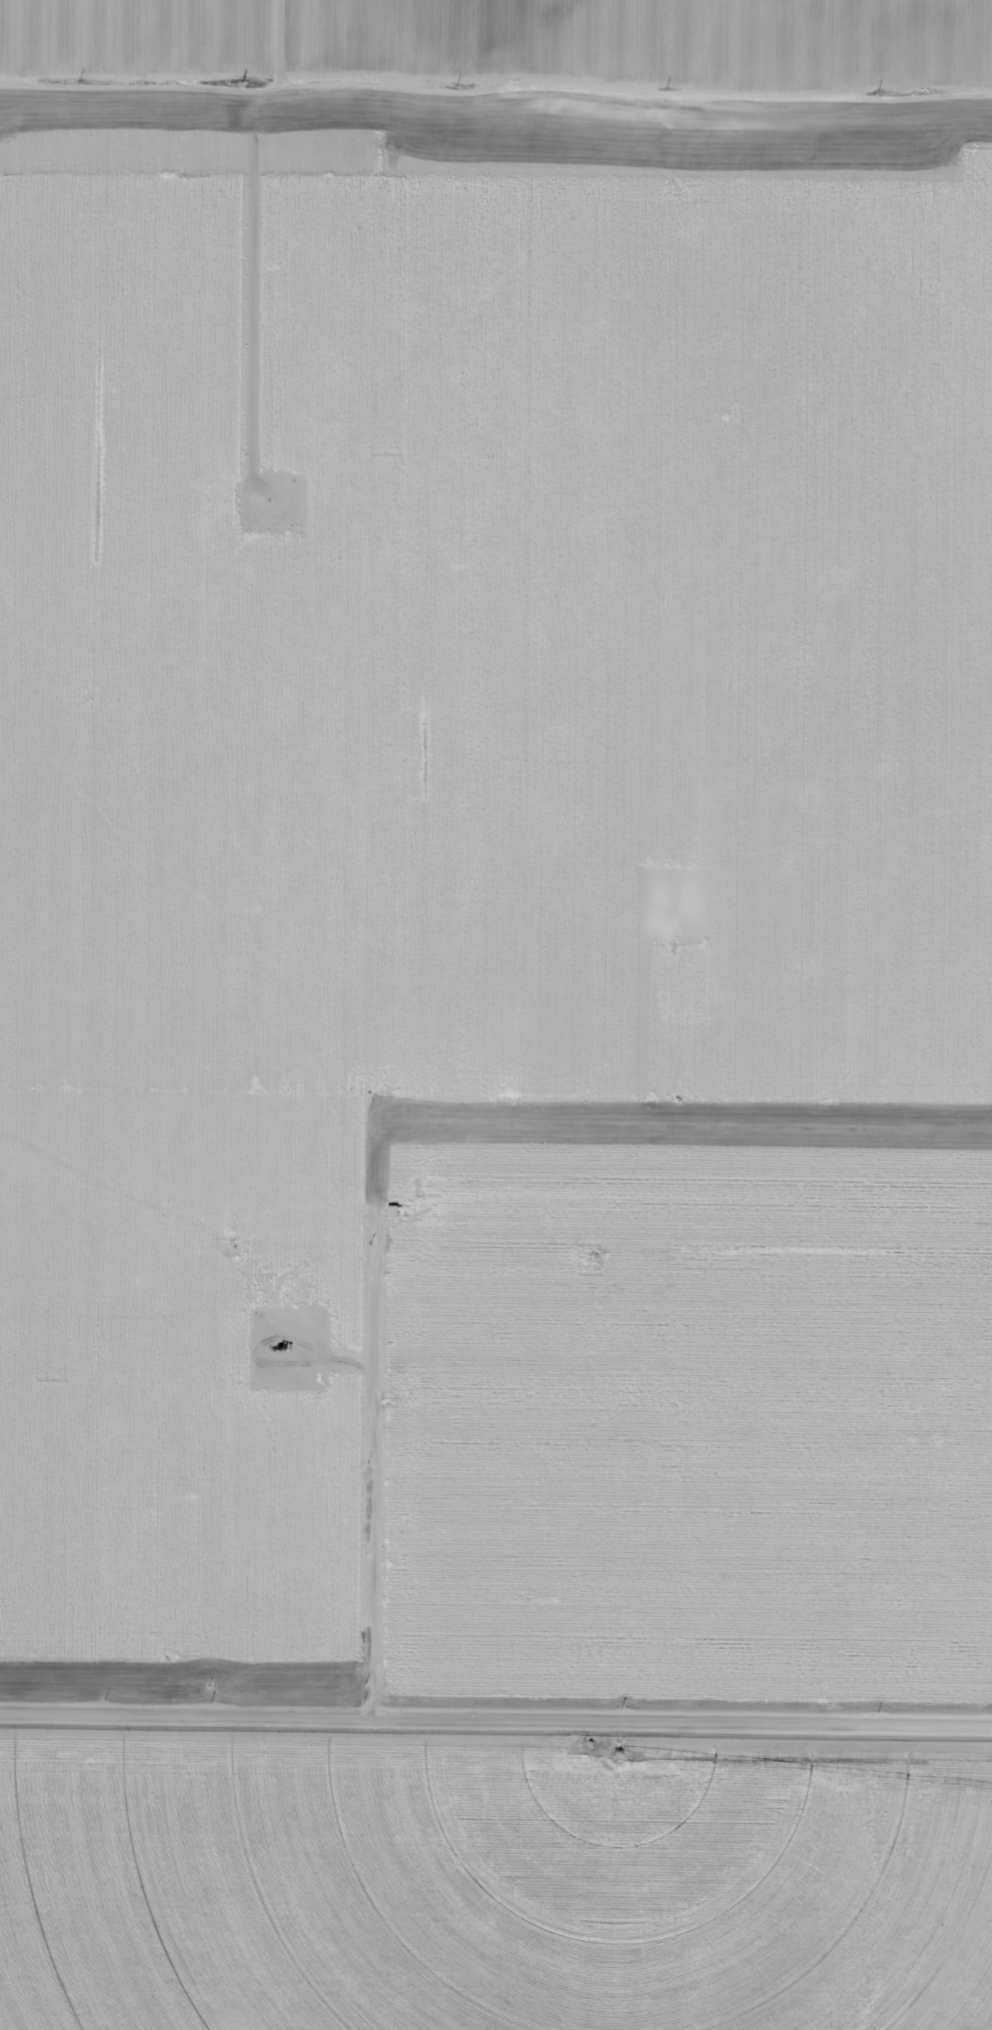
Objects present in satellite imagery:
road: (496, 82)
petroleum well: (273, 1347)
road: (496, 1718)

